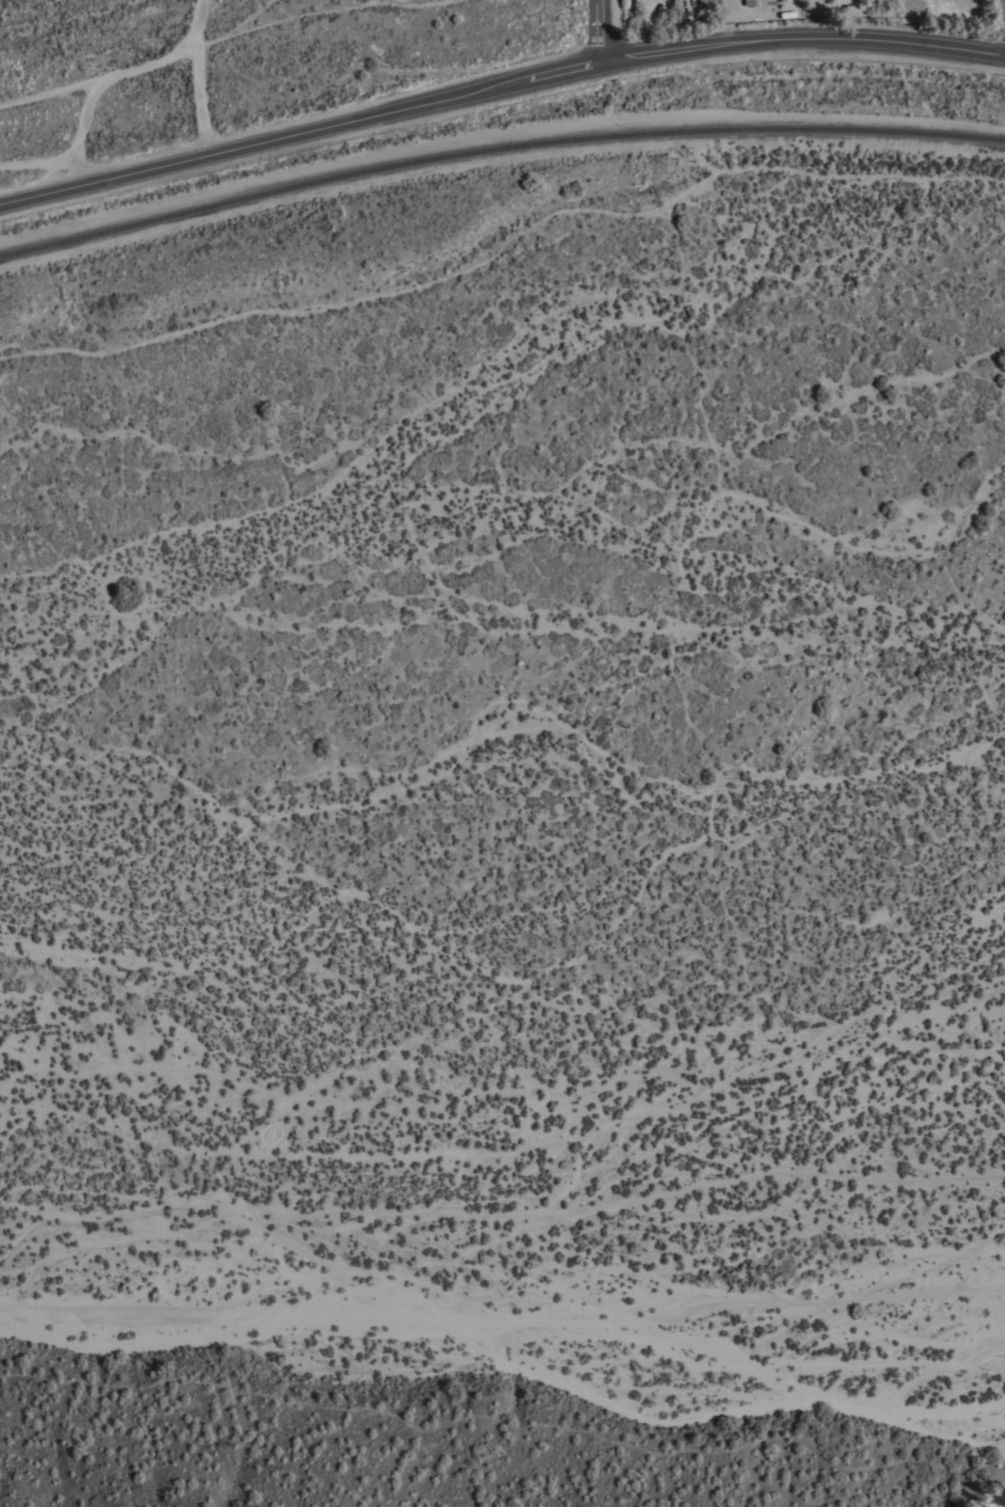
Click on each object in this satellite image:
building: (782, 0)
building: (750, 2)
road: (322, 12)
road: (249, 19)
road: (732, 22)
road: (596, 31)
road: (868, 42)
road: (197, 76)
road: (104, 79)
road: (48, 96)
road: (364, 117)
railway: (497, 148)
road: (62, 166)

